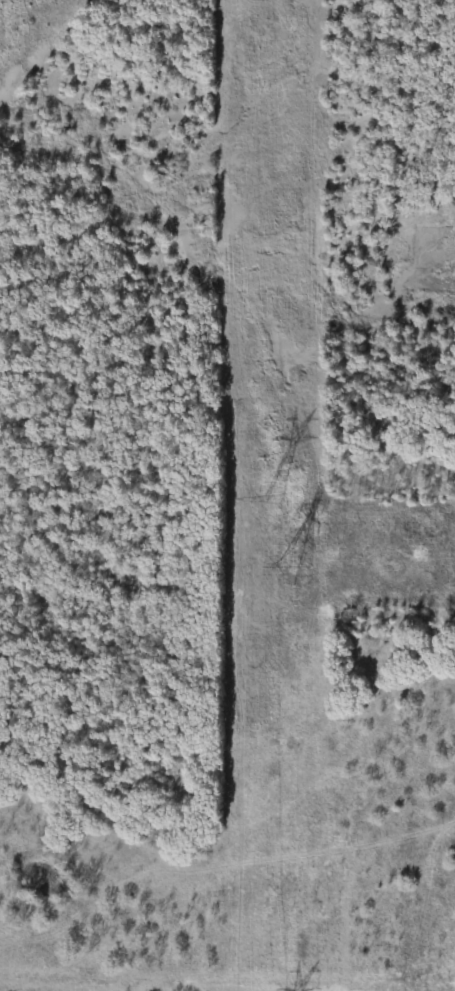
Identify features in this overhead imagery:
power tower: (268, 501)
power tower: (286, 565)

